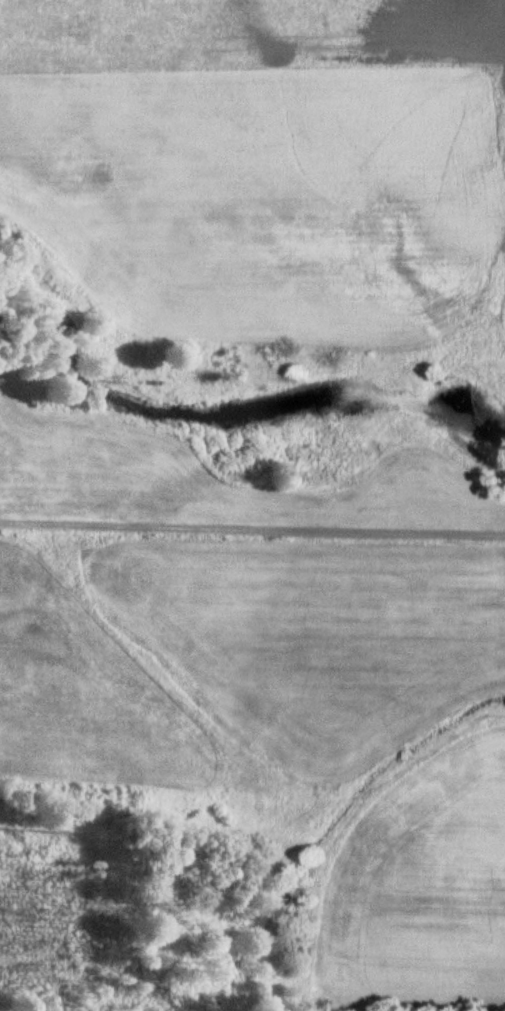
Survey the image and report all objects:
road: (252, 539)

